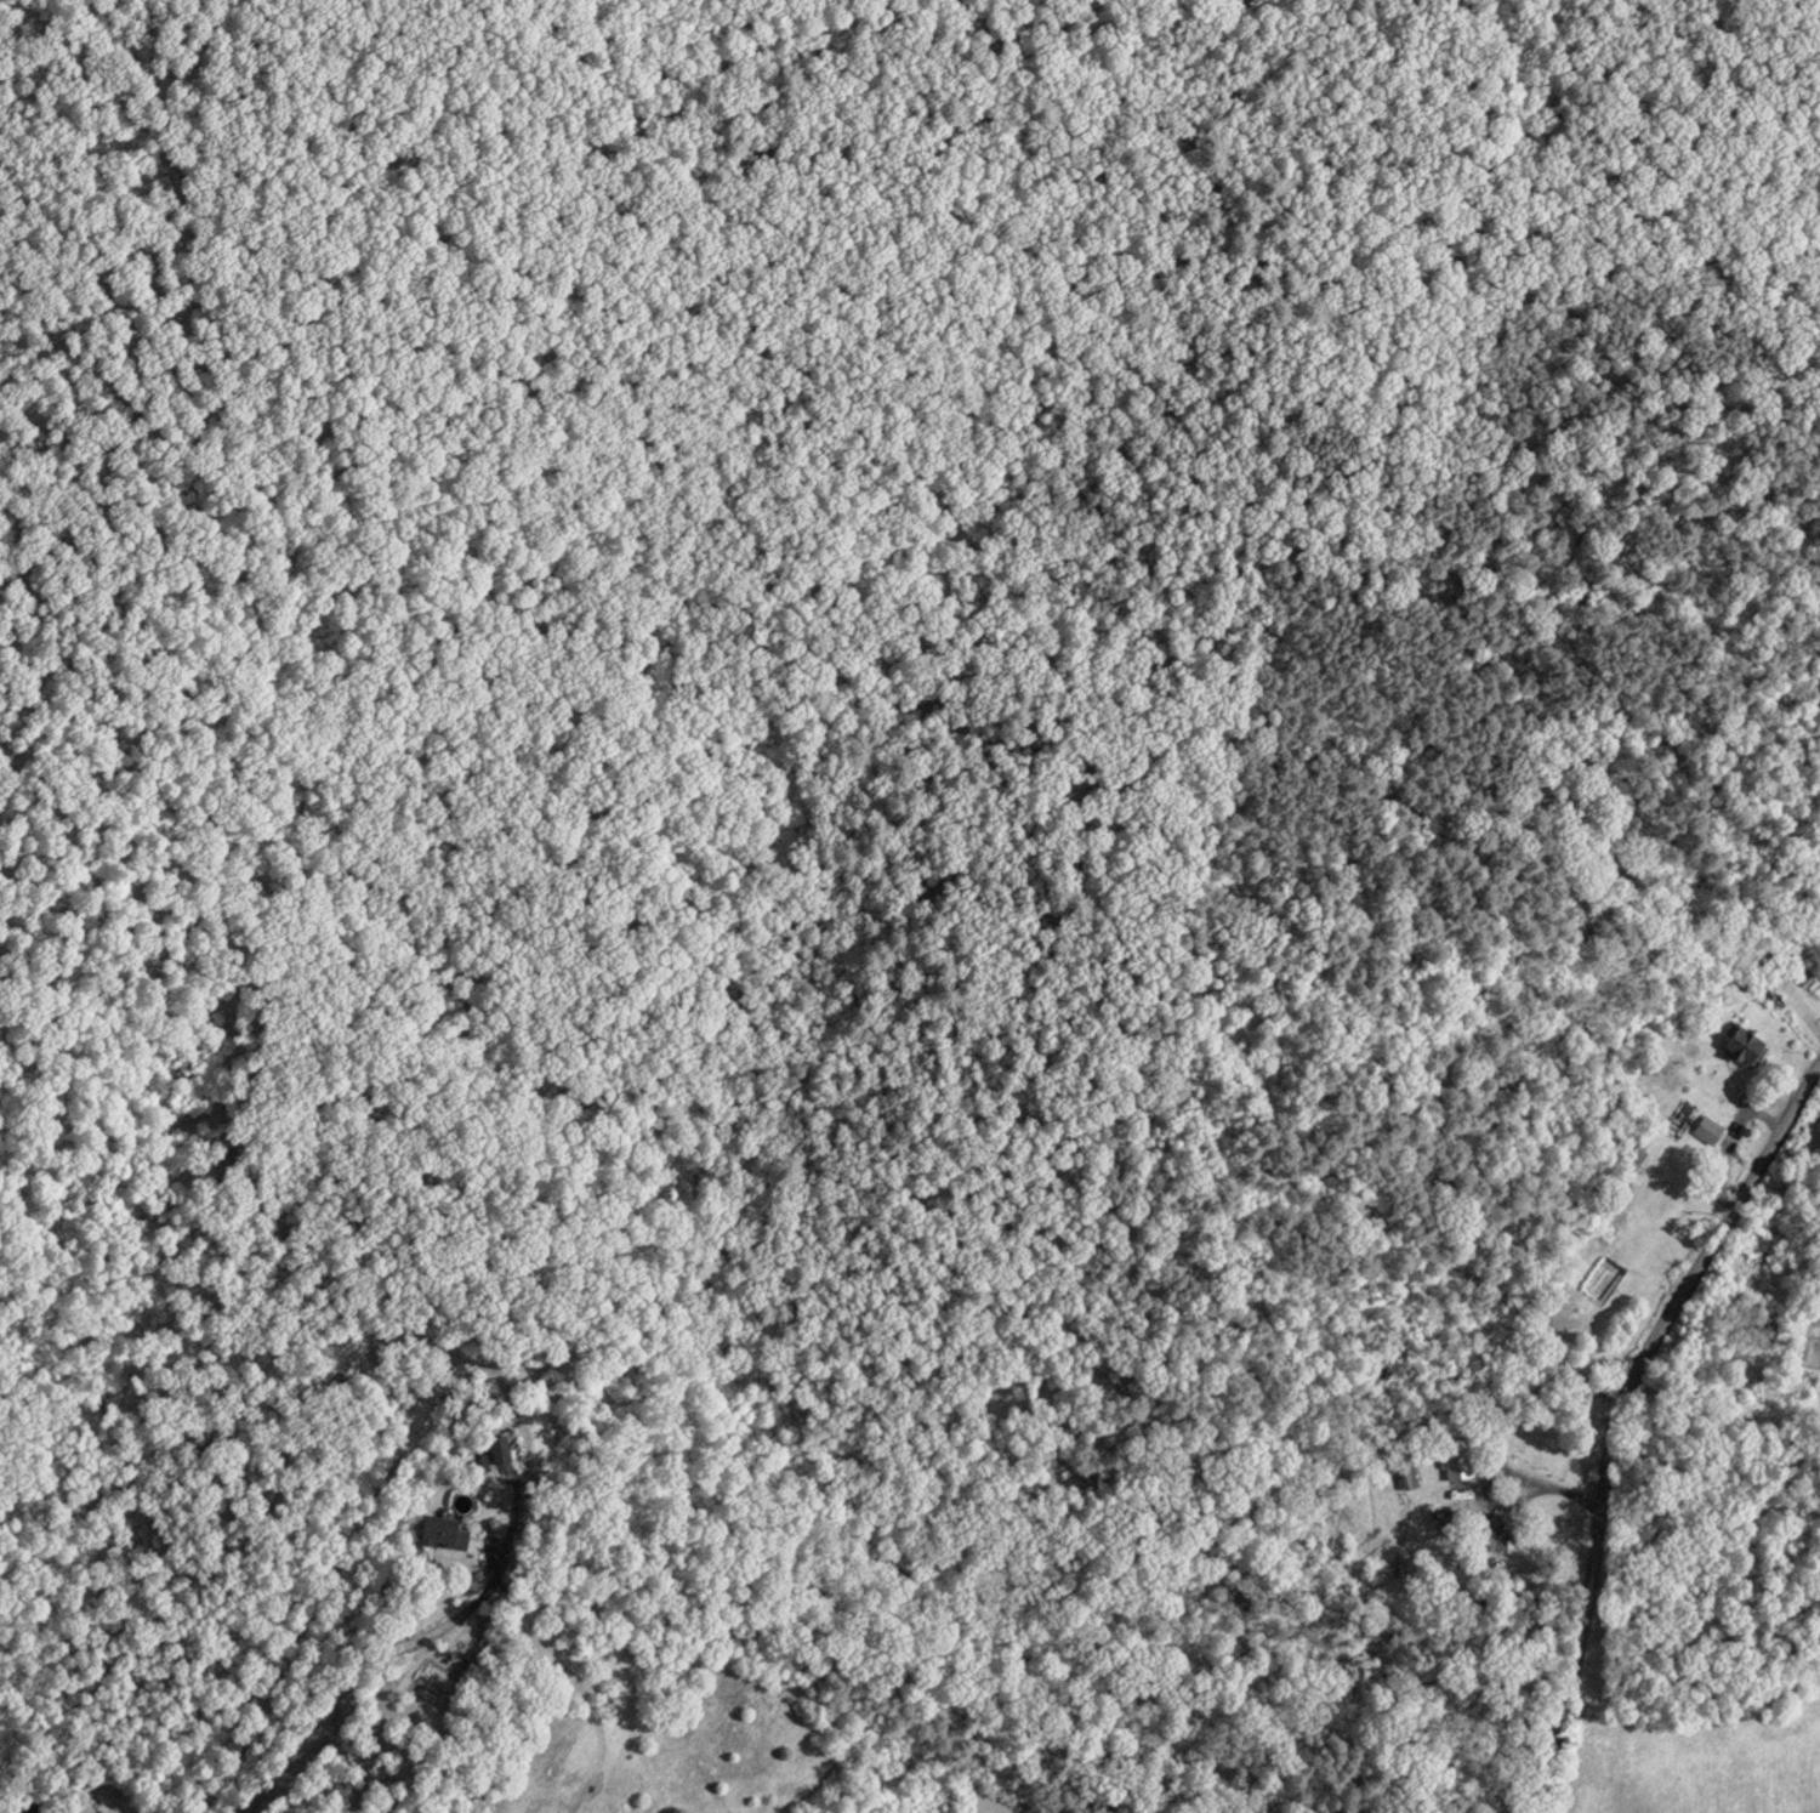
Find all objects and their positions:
building: (1741, 1045)
building: (1707, 1129)
road: (1649, 1432)
building: (1455, 1456)
building: (1400, 1464)
building: (440, 1530)
building: (1492, 1539)
road: (381, 1656)
building: (27, 1811)
building: (357, 1812)

